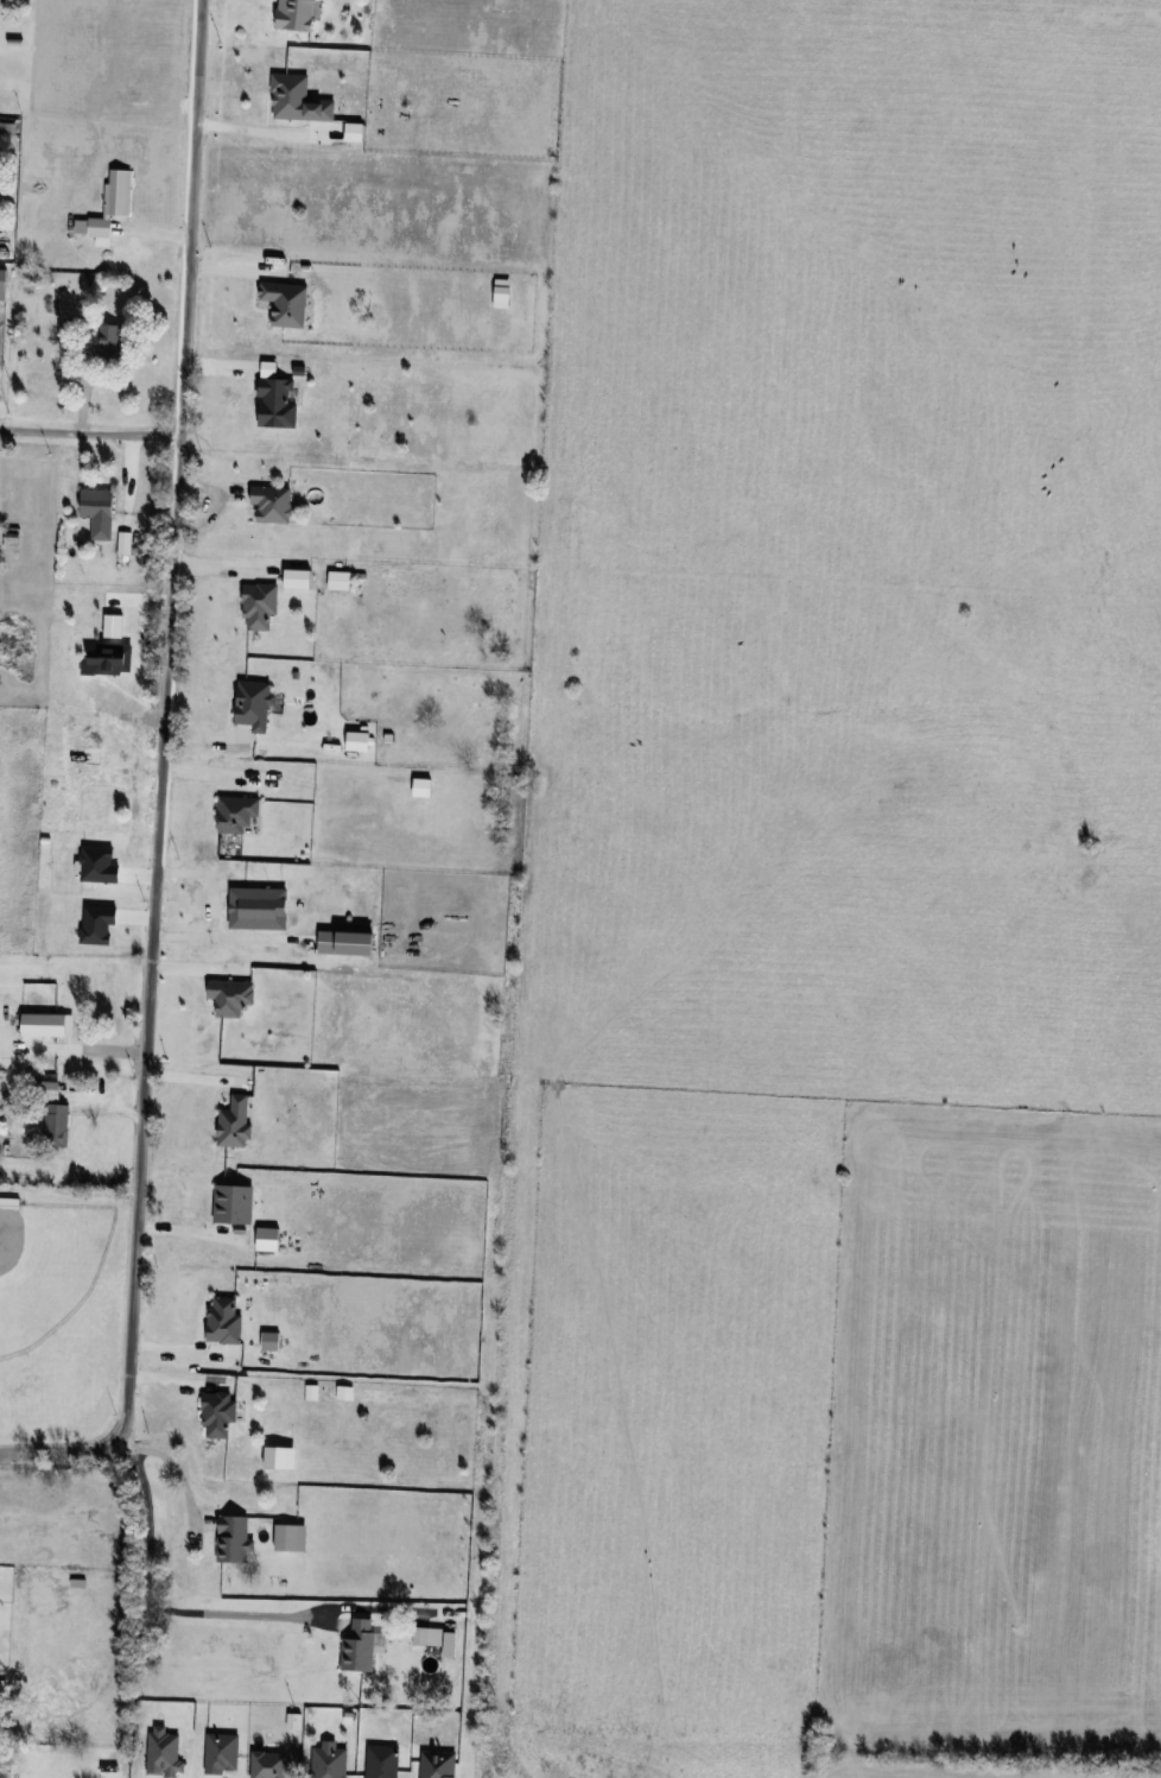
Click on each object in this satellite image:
building: (298, 14)
building: (298, 100)
road: (252, 129)
building: (114, 202)
building: (4, 284)
building: (112, 343)
building: (278, 404)
road: (89, 435)
building: (272, 504)
building: (100, 512)
building: (261, 606)
building: (113, 625)
building: (255, 704)
road: (163, 721)
building: (91, 795)
building: (43, 1090)
building: (236, 1122)
building: (57, 1125)
building: (226, 1321)
building: (272, 1341)
building: (220, 1413)
road: (61, 1454)
road: (169, 1467)
building: (292, 1537)
building: (234, 1538)
road: (151, 1602)
building: (436, 1639)
building: (363, 1645)
building: (6, 1753)

